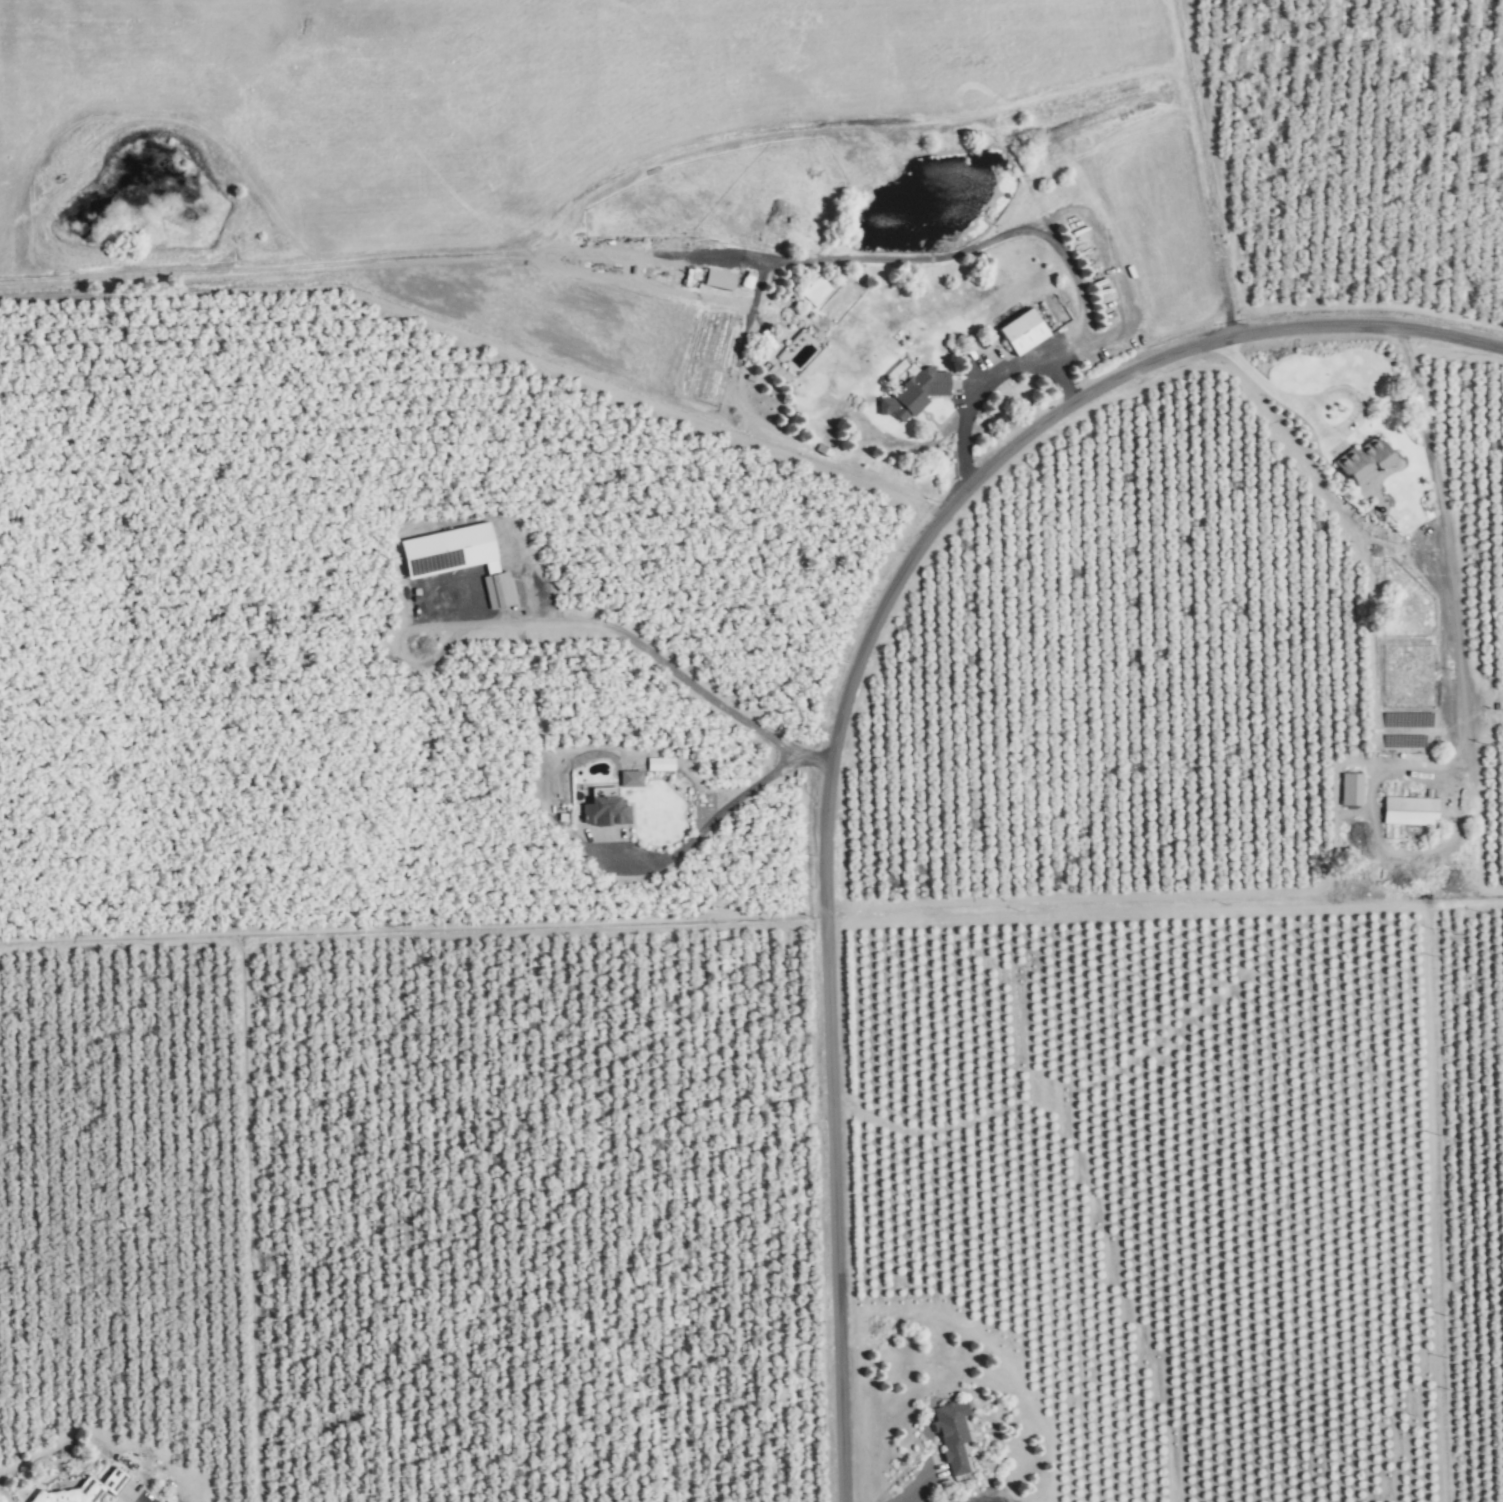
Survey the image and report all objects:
crop: (790, 147)
road: (901, 253)
crop: (7, 278)
road: (1122, 314)
building: (1018, 331)
road: (1068, 332)
road: (991, 376)
road: (1266, 389)
building: (913, 392)
road: (934, 439)
building: (1359, 463)
building: (461, 557)
road: (639, 643)
road: (846, 683)
building: (1352, 738)
building: (1350, 790)
building: (609, 810)
building: (1409, 811)
road: (711, 819)
crop: (1468, 1081)
crop: (415, 1226)
building: (1290, 1241)
building: (1078, 1328)
building: (1049, 1424)
building: (949, 1436)
road: (908, 1487)
building: (87, 1489)

